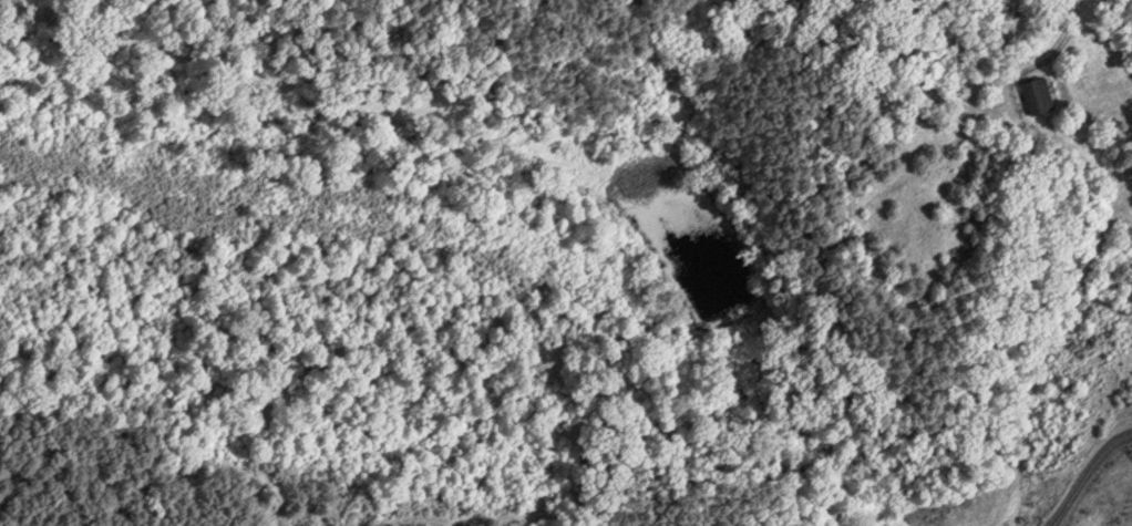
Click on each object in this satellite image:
road: (1069, 29)
building: (1033, 94)
road: (1080, 470)

